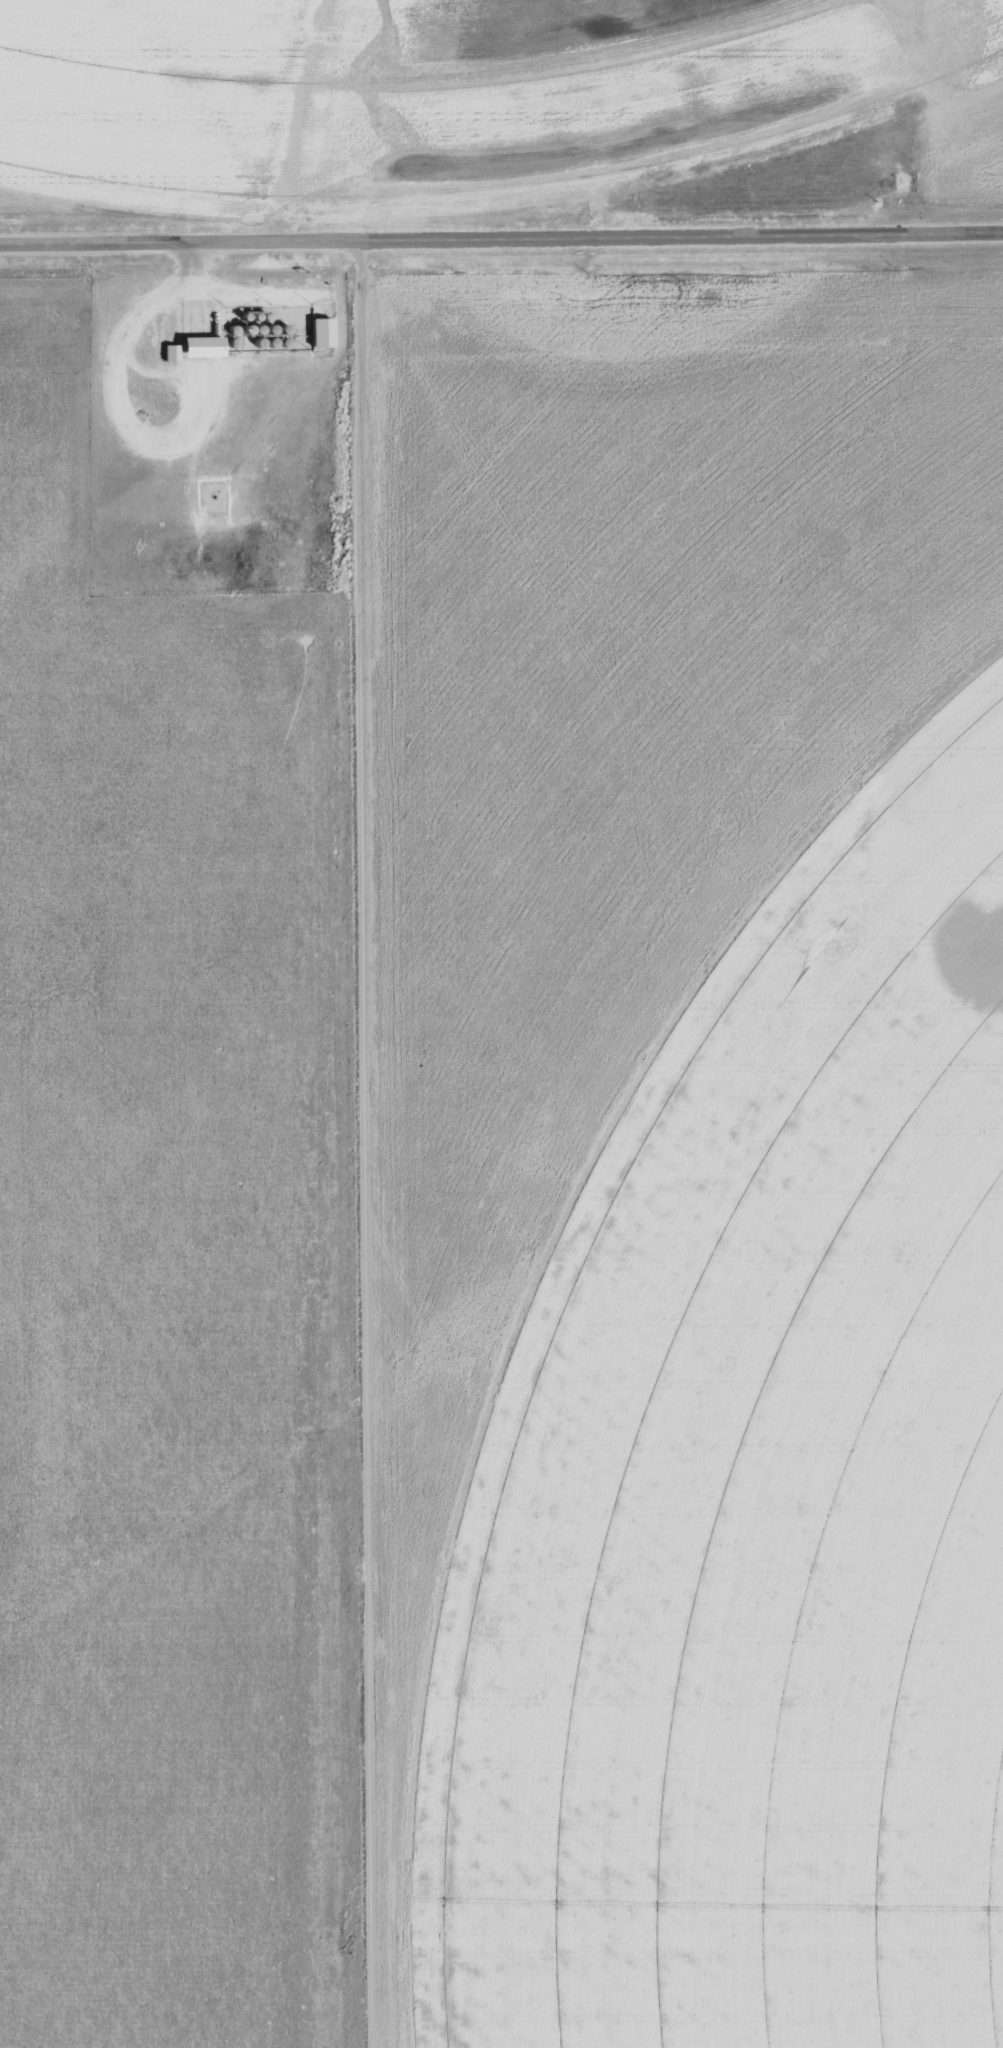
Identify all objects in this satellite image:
road: (307, 122)
road: (501, 242)

